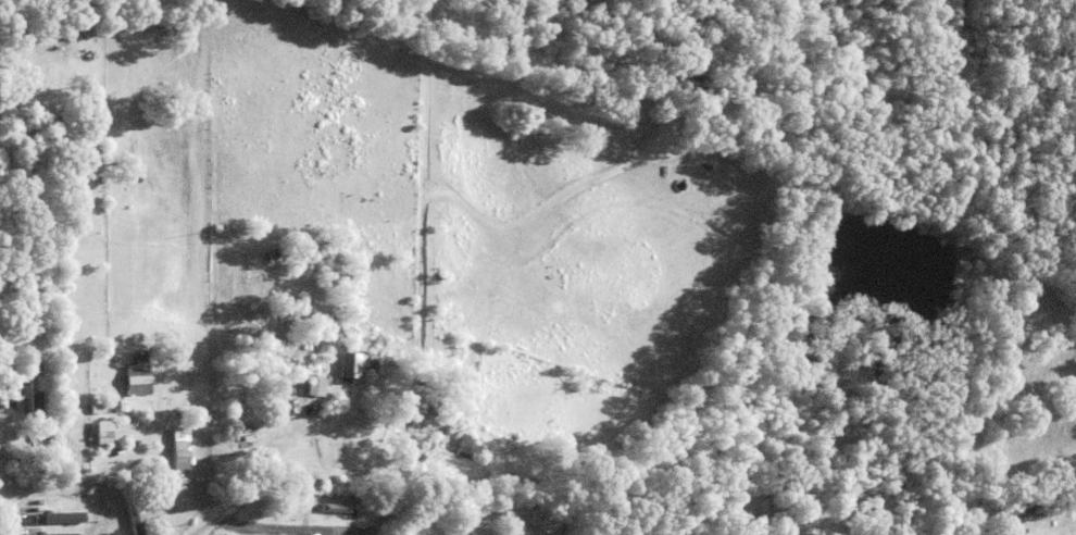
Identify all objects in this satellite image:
building: (660, 71)
building: (705, 80)
building: (726, 107)
building: (175, 108)
building: (60, 127)
building: (66, 145)
building: (673, 157)
building: (23, 340)
building: (681, 357)
building: (352, 364)
building: (375, 366)
building: (139, 376)
building: (35, 385)
building: (305, 386)
building: (316, 386)
building: (10, 398)
building: (121, 405)
building: (100, 408)
building: (447, 428)
building: (414, 430)
building: (438, 430)
building: (110, 432)
building: (233, 439)
building: (472, 448)
building: (59, 450)
building: (5, 451)
building: (183, 460)
road: (266, 482)
road: (127, 499)
building: (1041, 506)
building: (1011, 507)
building: (291, 508)
building: (338, 509)
building: (58, 519)
building: (136, 519)
road: (281, 525)
building: (109, 526)
building: (52, 534)

